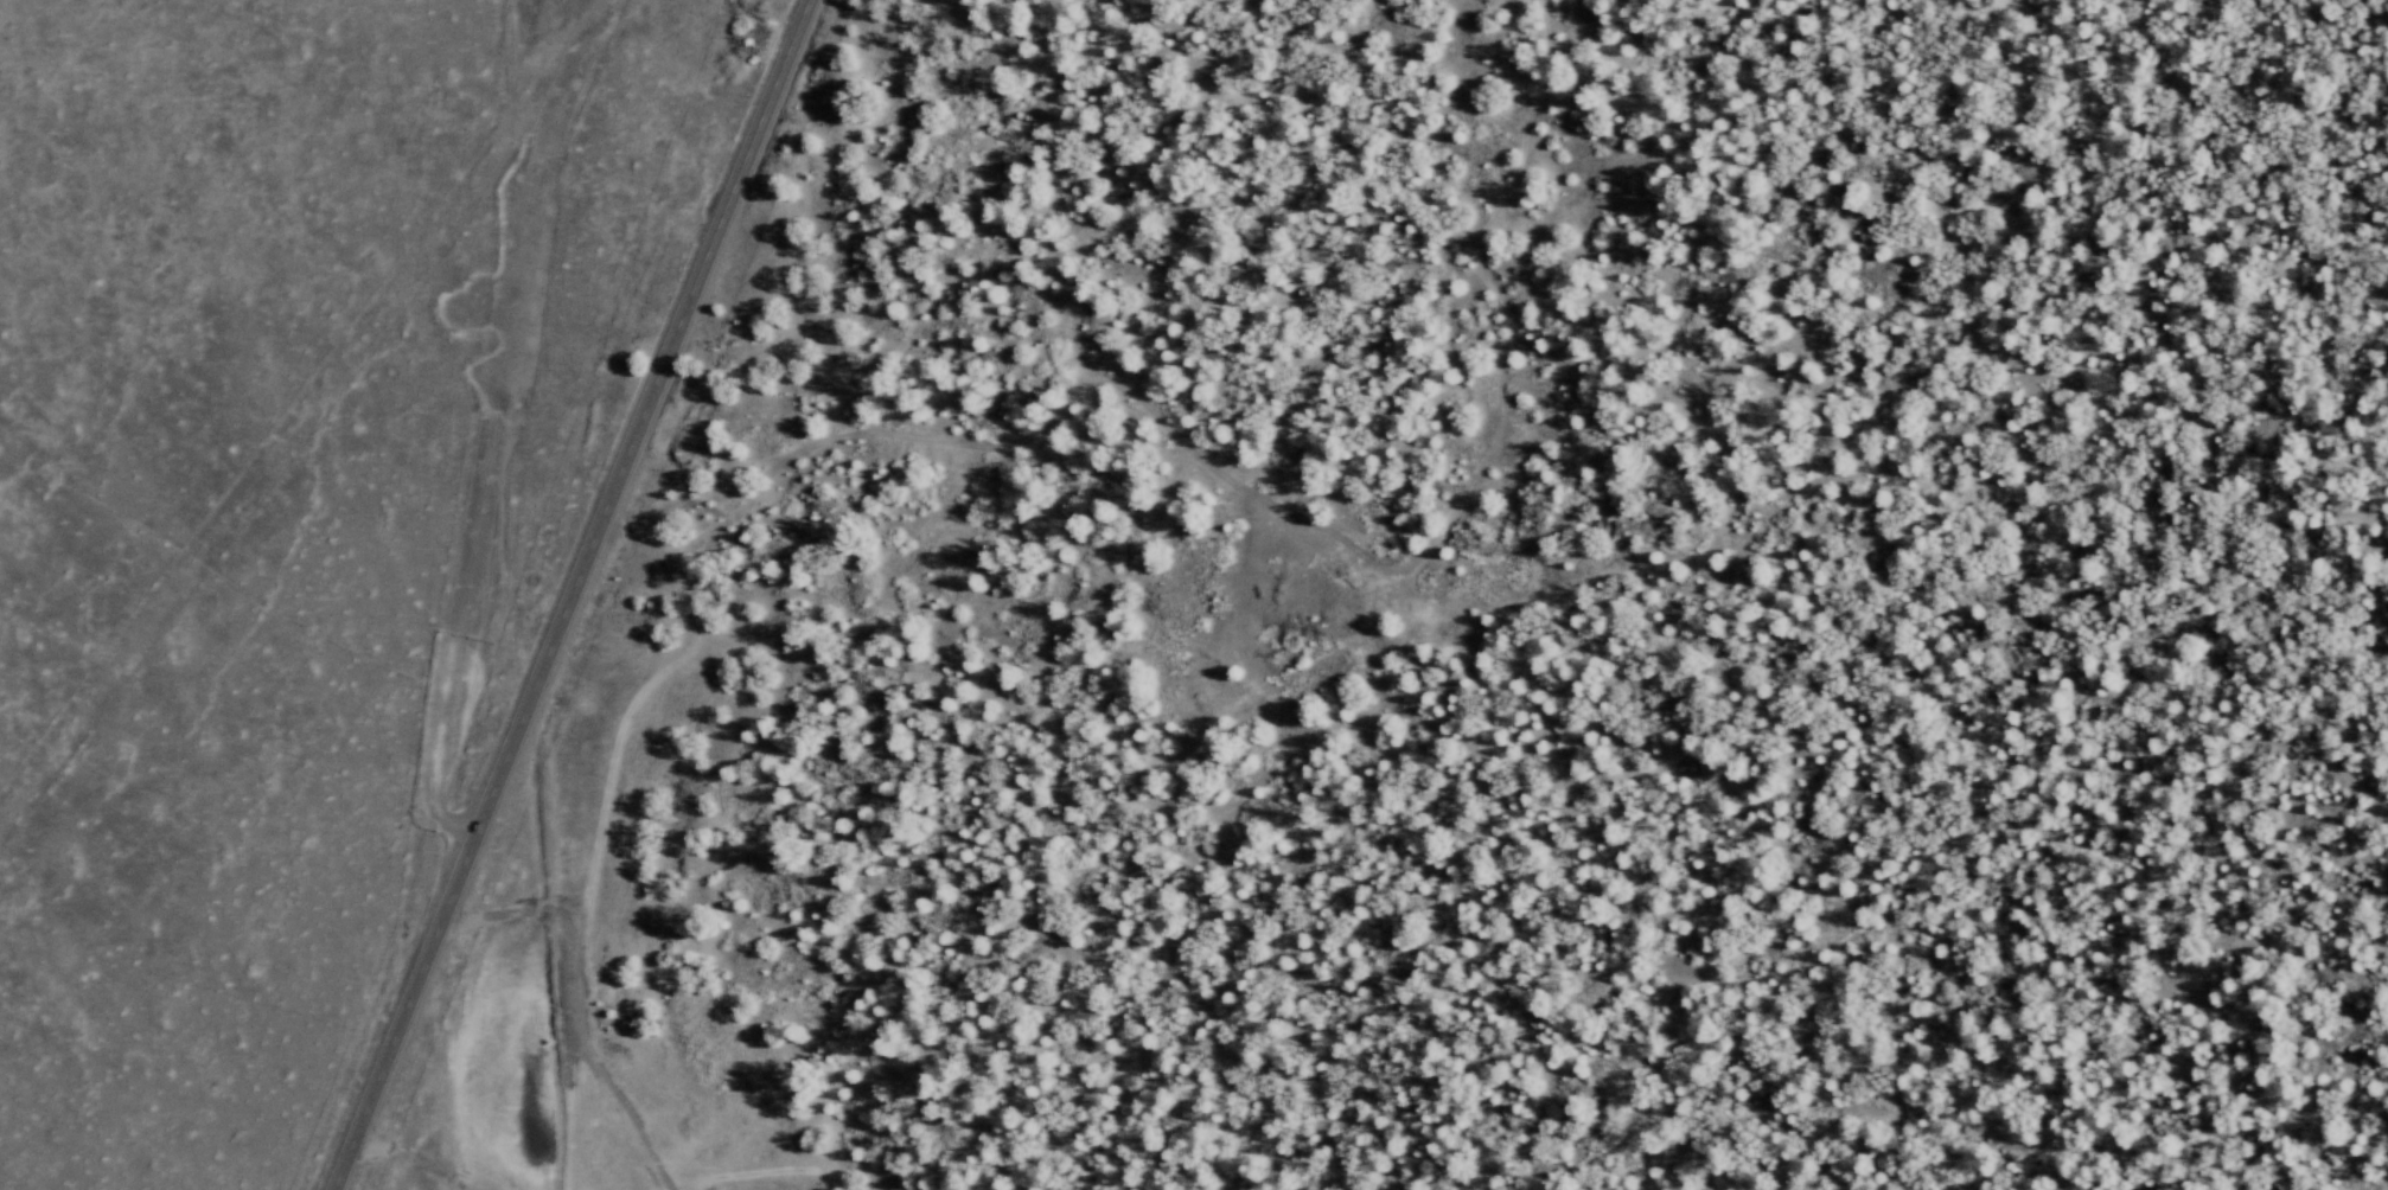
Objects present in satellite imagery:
road: (567, 595)
road: (254, 601)
parking lot: (449, 709)
road: (433, 760)

